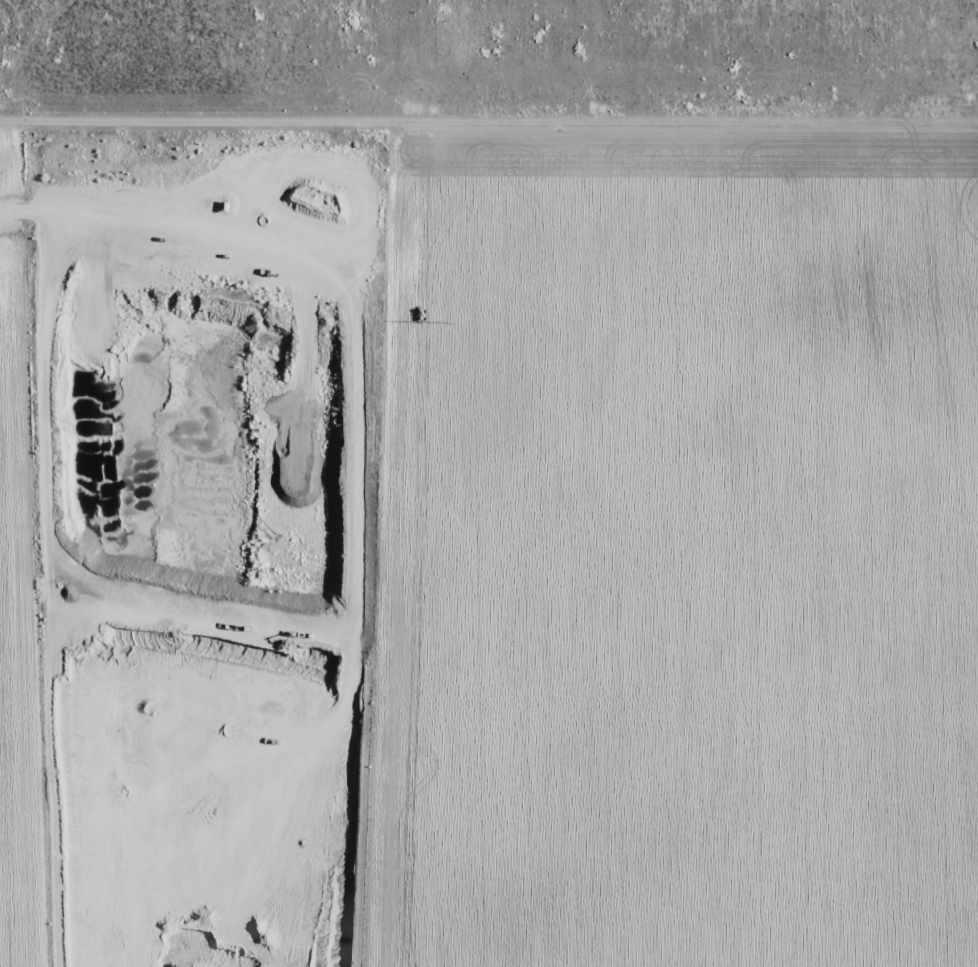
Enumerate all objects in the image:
crop: (546, 507)

